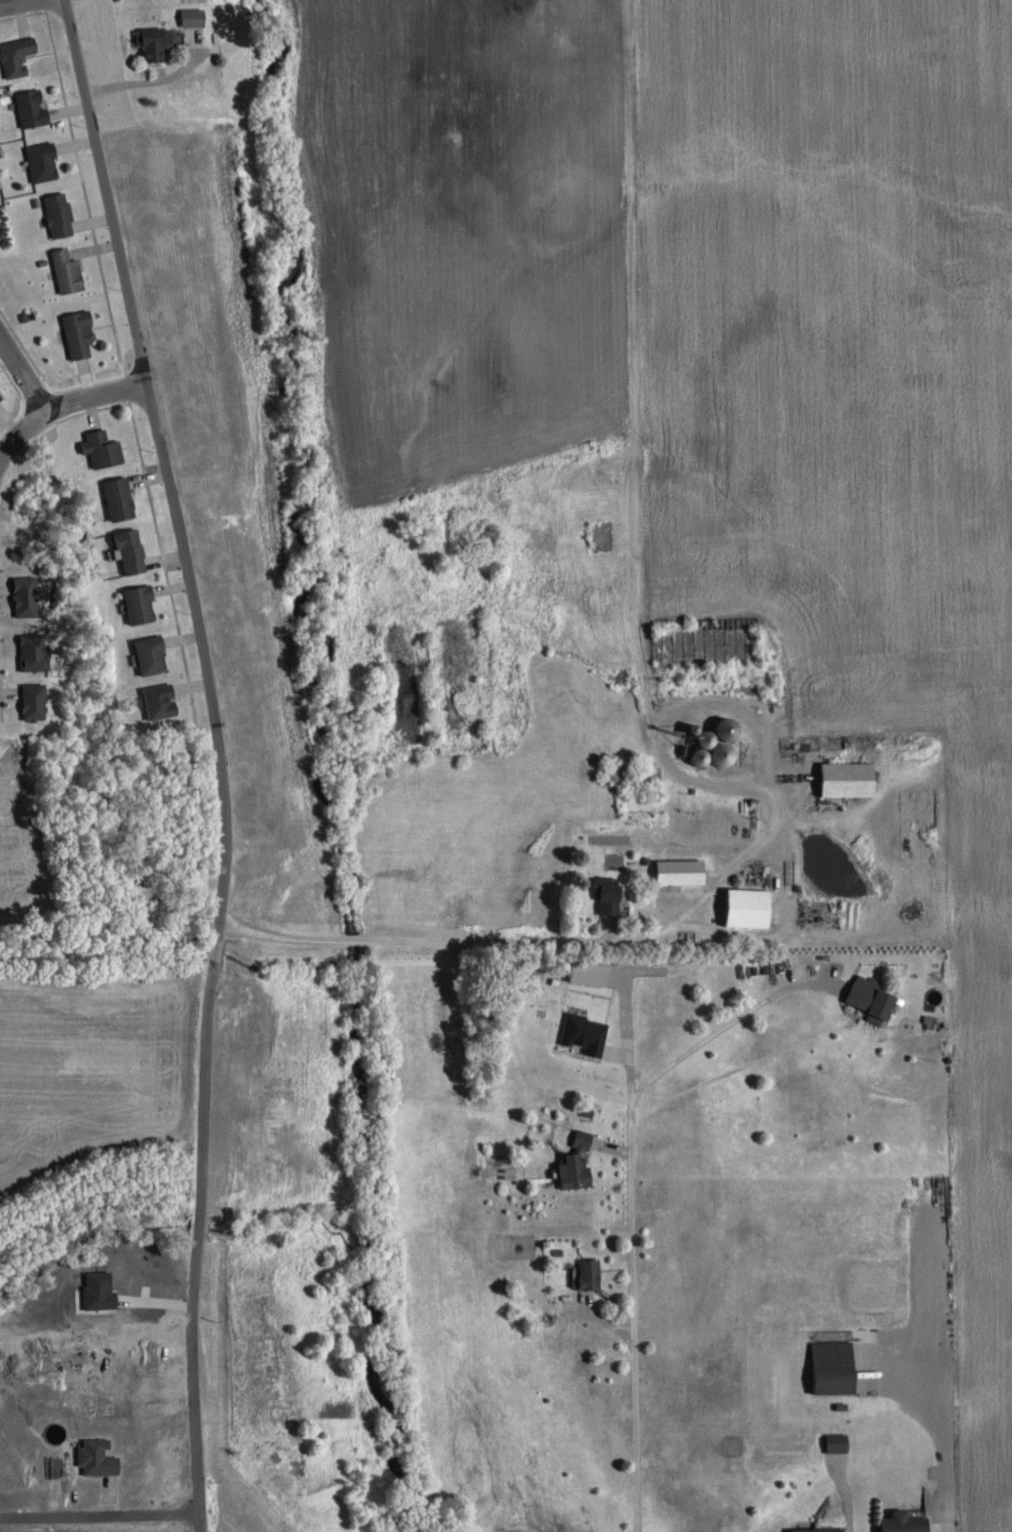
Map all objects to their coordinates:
road: (20, 4)
building: (195, 16)
building: (155, 42)
building: (18, 56)
road: (144, 89)
building: (33, 108)
building: (44, 160)
building: (61, 213)
building: (69, 270)
building: (81, 332)
road: (22, 375)
building: (0, 398)
road: (95, 398)
road: (19, 426)
building: (104, 447)
building: (121, 497)
building: (132, 549)
building: (28, 594)
building: (142, 603)
building: (35, 651)
building: (153, 654)
building: (35, 700)
building: (162, 700)
building: (719, 741)
road: (222, 758)
building: (850, 778)
building: (682, 870)
building: (611, 898)
building: (749, 906)
road: (455, 945)
building: (872, 997)
building: (587, 1033)
building: (579, 1162)
building: (592, 1273)
building: (867, 1334)
building: (835, 1366)
building: (840, 1442)
building: (99, 1457)
building: (907, 1521)
building: (821, 1529)

